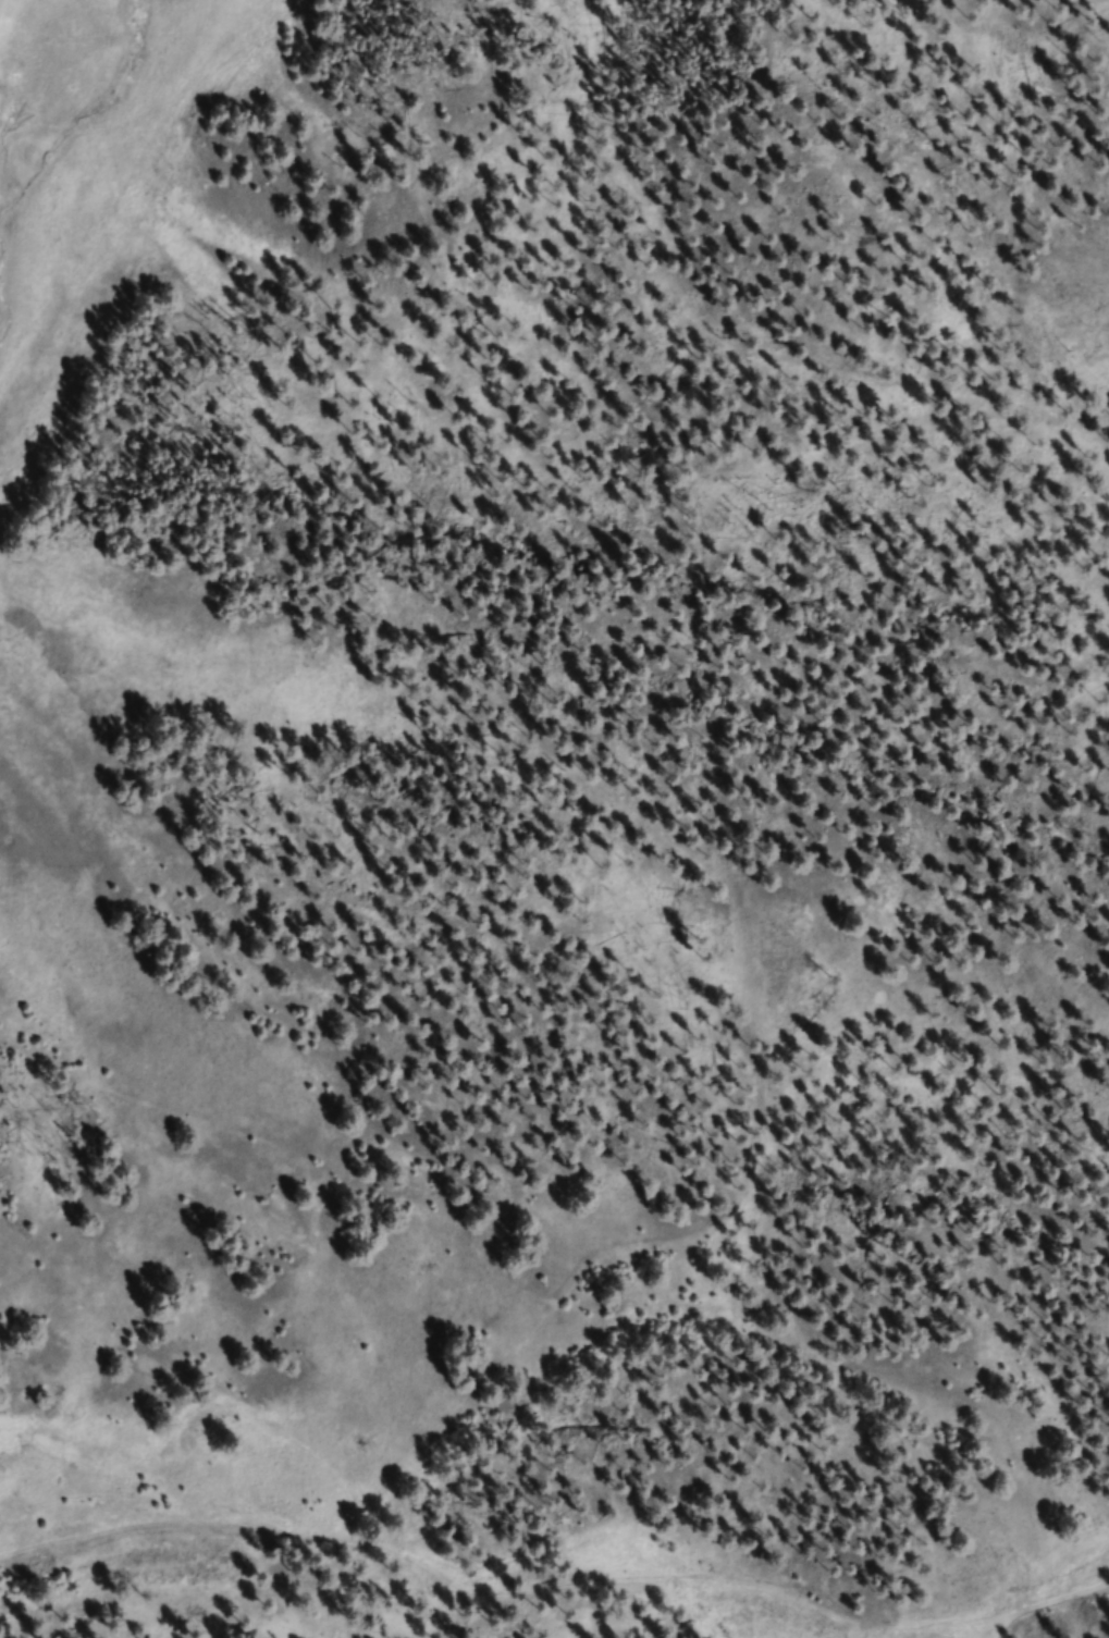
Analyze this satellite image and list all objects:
road: (664, 1573)

